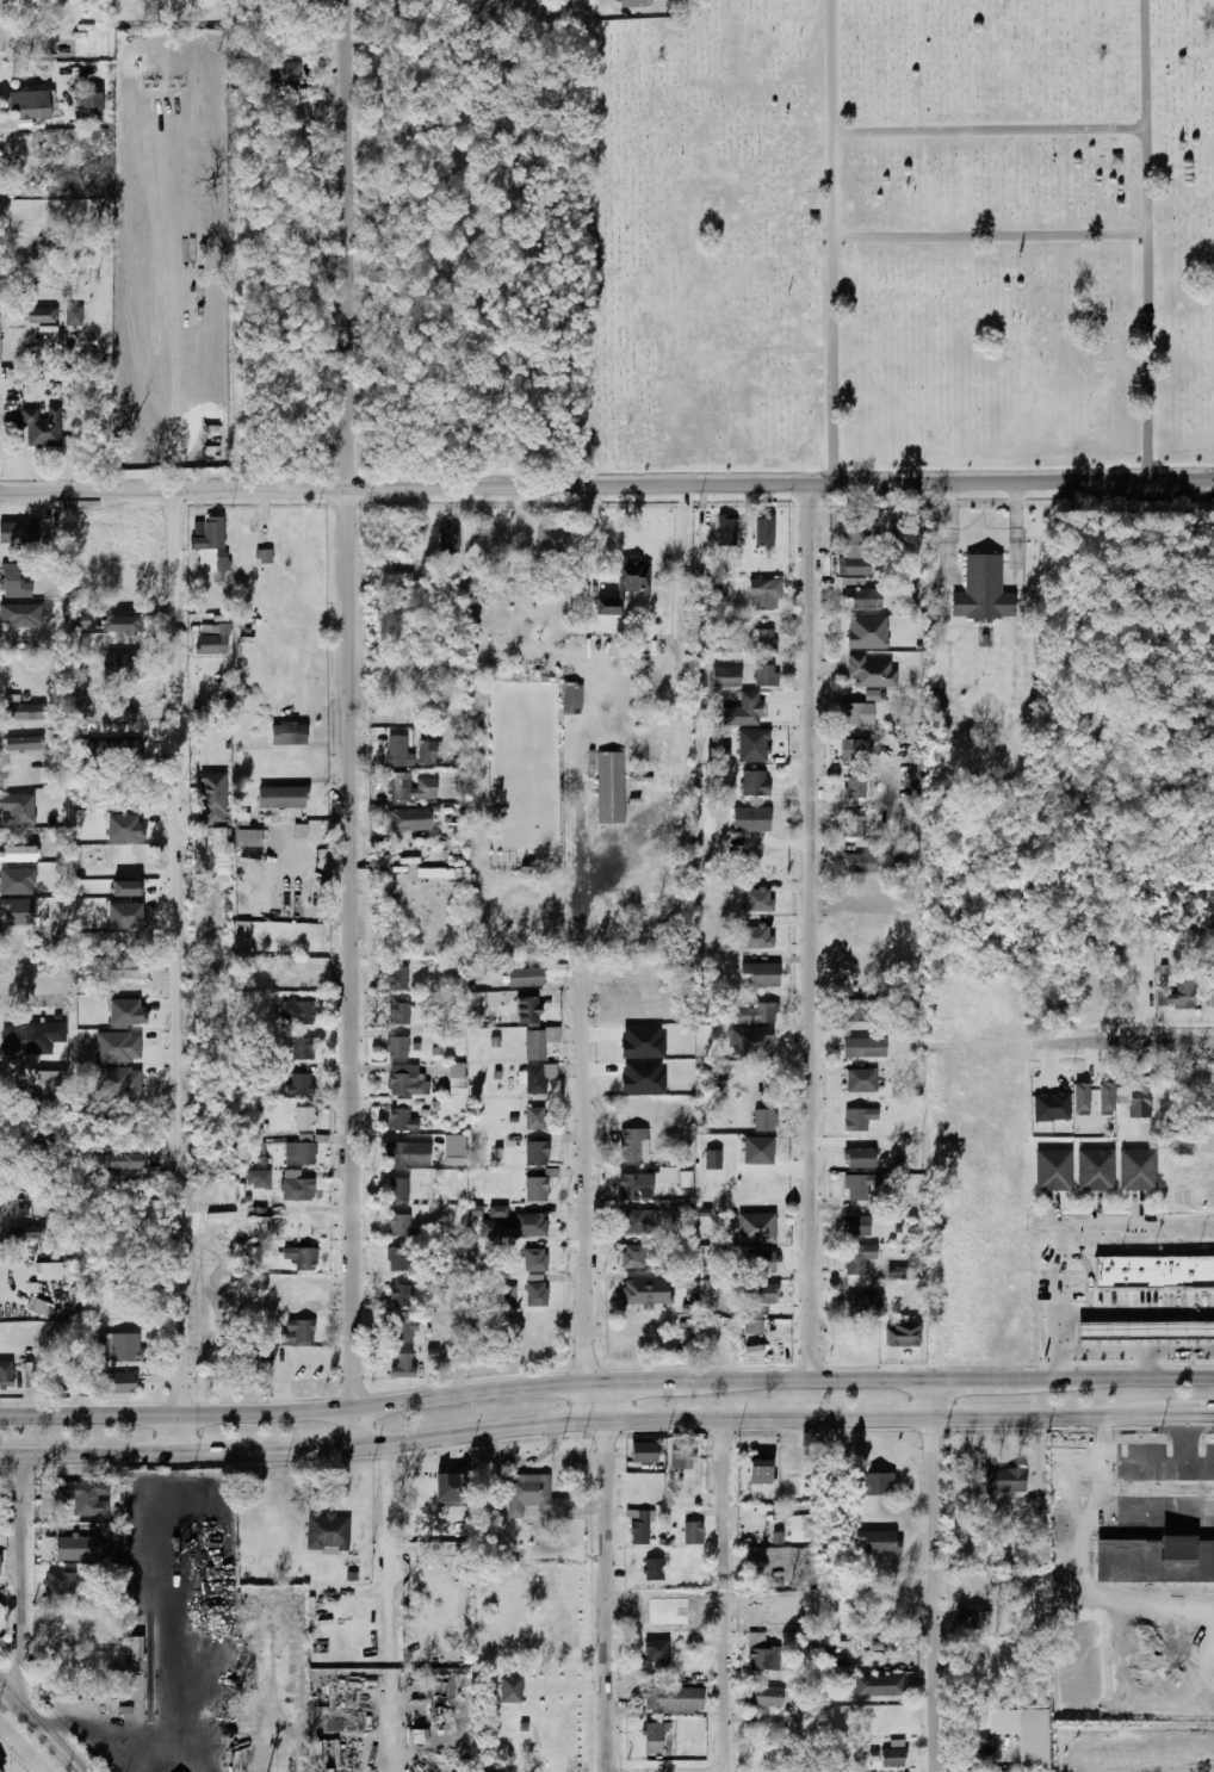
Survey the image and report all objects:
building: (634, 2)
road: (571, 7)
building: (193, 57)
building: (285, 76)
building: (27, 105)
building: (88, 107)
road: (987, 130)
road: (987, 236)
park: (894, 237)
road: (1146, 240)
road: (830, 242)
building: (42, 315)
building: (74, 315)
building: (43, 427)
road: (607, 487)
building: (853, 526)
building: (726, 529)
building: (18, 532)
building: (764, 532)
building: (450, 538)
building: (552, 539)
building: (210, 544)
building: (265, 556)
building: (855, 559)
building: (13, 582)
building: (626, 585)
building: (714, 590)
building: (983, 590)
building: (764, 593)
building: (865, 599)
building: (80, 620)
building: (120, 622)
building: (868, 632)
building: (764, 639)
building: (213, 642)
building: (871, 671)
building: (766, 675)
building: (726, 676)
building: (571, 695)
building: (872, 695)
building: (12, 698)
building: (750, 707)
building: (23, 711)
building: (857, 713)
road: (983, 717)
road: (345, 723)
building: (24, 742)
building: (754, 745)
building: (114, 748)
building: (156, 748)
building: (855, 750)
building: (398, 751)
building: (427, 752)
building: (426, 782)
building: (755, 782)
building: (611, 787)
building: (854, 787)
building: (281, 797)
building: (213, 798)
building: (17, 808)
building: (408, 819)
building: (761, 824)
building: (853, 825)
building: (125, 828)
building: (301, 830)
building: (248, 838)
building: (860, 862)
building: (436, 873)
building: (126, 887)
building: (761, 899)
building: (125, 915)
road: (812, 931)
building: (755, 936)
building: (242, 938)
building: (132, 968)
building: (558, 969)
road: (180, 972)
building: (1213, 972)
building: (204, 973)
building: (762, 974)
building: (398, 977)
building: (453, 977)
building: (526, 977)
building: (1177, 997)
building: (1210, 998)
building: (477, 1002)
building: (527, 1010)
building: (856, 1010)
building: (126, 1012)
building: (297, 1012)
building: (399, 1012)
building: (756, 1012)
building: (33, 1037)
building: (643, 1041)
building: (750, 1041)
building: (539, 1042)
road: (1129, 1042)
building: (865, 1047)
building: (302, 1048)
building: (397, 1048)
building: (112, 1051)
building: (643, 1077)
building: (537, 1078)
building: (454, 1079)
building: (404, 1080)
building: (860, 1082)
building: (299, 1084)
building: (119, 1091)
building: (1082, 1098)
building: (1107, 1098)
building: (1139, 1101)
building: (1052, 1107)
building: (303, 1119)
building: (401, 1119)
building: (533, 1119)
building: (763, 1120)
building: (859, 1120)
building: (632, 1146)
building: (762, 1147)
building: (242, 1151)
building: (298, 1153)
building: (396, 1153)
building: (535, 1153)
building: (454, 1158)
building: (857, 1158)
building: (713, 1159)
building: (119, 1160)
building: (1052, 1170)
building: (1095, 1170)
building: (1136, 1170)
road: (583, 1176)
building: (256, 1178)
building: (686, 1178)
building: (295, 1187)
building: (628, 1187)
building: (397, 1189)
building: (534, 1189)
building: (855, 1189)
building: (905, 1189)
building: (497, 1212)
building: (632, 1221)
building: (398, 1225)
building: (518, 1226)
building: (855, 1226)
road: (1126, 1227)
building: (763, 1228)
building: (23, 1233)
building: (631, 1256)
building: (299, 1258)
building: (856, 1258)
building: (398, 1259)
building: (533, 1260)
building: (758, 1262)
building: (49, 1270)
building: (897, 1271)
building: (1154, 1271)
building: (645, 1291)
parking lot: (1110, 1291)
building: (509, 1294)
building: (534, 1294)
building: (763, 1294)
building: (399, 1295)
building: (863, 1306)
building: (38, 1307)
road: (1142, 1314)
road: (1071, 1319)
building: (752, 1326)
building: (297, 1331)
building: (1146, 1331)
gas station: (1146, 1331)
building: (402, 1332)
building: (685, 1332)
building: (903, 1336)
building: (119, 1347)
road: (1136, 1351)
building: (256, 1361)
building: (401, 1364)
road: (1150, 1364)
building: (6, 1374)
road: (606, 1381)
building: (117, 1383)
road: (596, 1401)
road: (1181, 1418)
road: (572, 1420)
building: (643, 1452)
building: (682, 1457)
building: (758, 1471)
building: (1003, 1482)
building: (875, 1485)
building: (450, 1489)
building: (532, 1495)
building: (85, 1497)
building: (642, 1526)
building: (799, 1528)
building: (326, 1534)
building: (692, 1534)
building: (85, 1537)
building: (778, 1537)
building: (877, 1542)
building: (652, 1569)
road: (936, 1574)
road: (18, 1579)
building: (58, 1584)
road: (607, 1596)
road: (725, 1596)
road: (386, 1607)
building: (972, 1616)
building: (2, 1617)
building: (69, 1623)
building: (1, 1650)
building: (135, 1654)
building: (655, 1656)
building: (762, 1659)
building: (877, 1685)
building: (508, 1690)
building: (762, 1696)
building: (670, 1700)
building: (792, 1722)
road: (41, 1728)
building: (656, 1731)
road: (87, 1733)
building: (1030, 1739)
building: (974, 1740)
road: (20, 1751)
building: (891, 1758)
building: (0, 1771)

